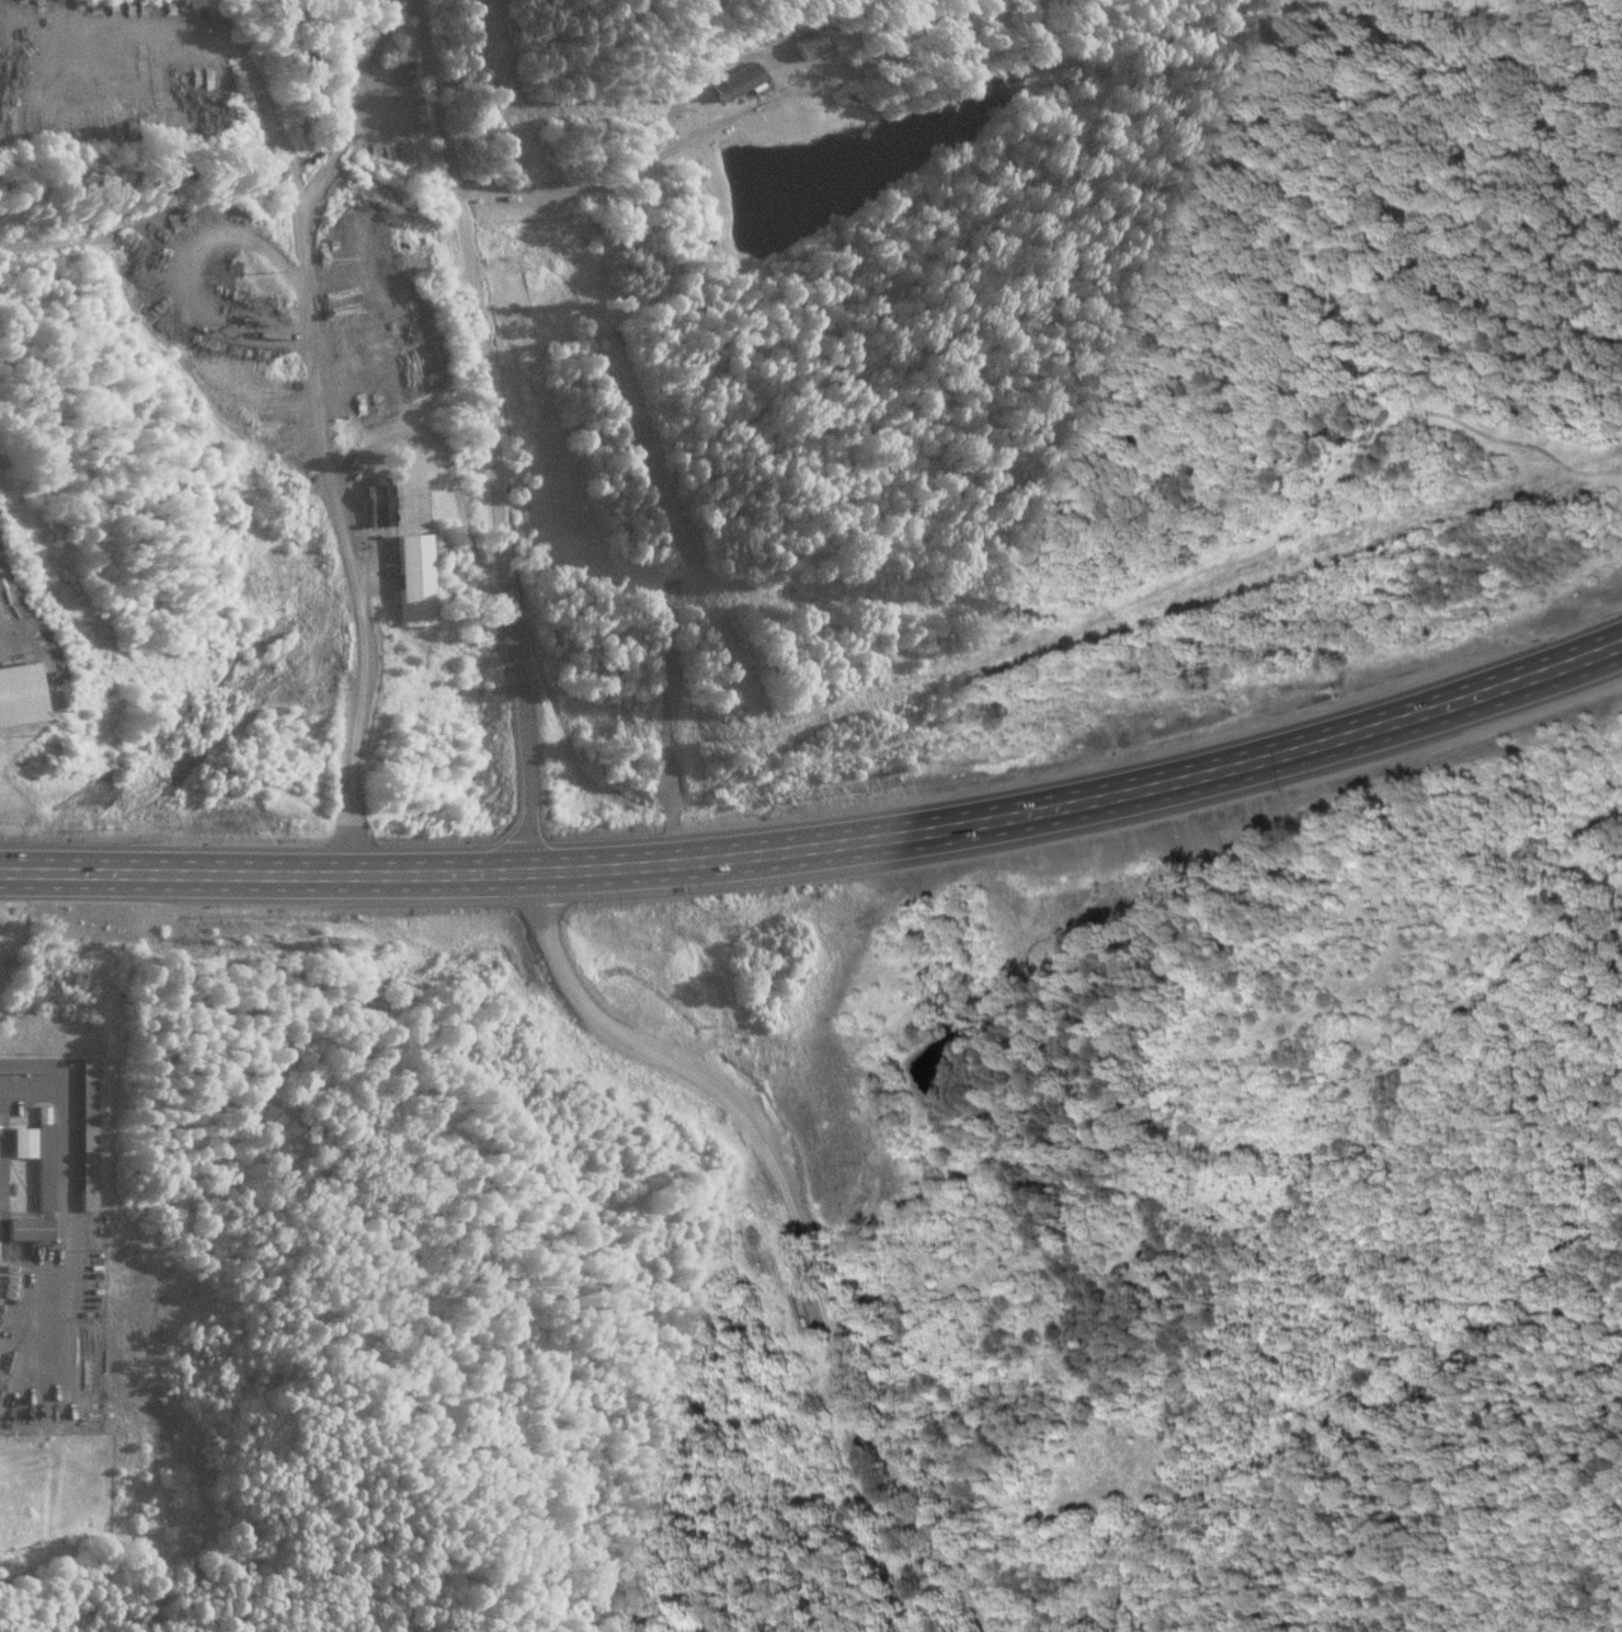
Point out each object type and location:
building: (953, 12)
building: (734, 78)
road: (751, 111)
road: (492, 432)
building: (379, 501)
building: (412, 578)
road: (363, 656)
road: (823, 828)
building: (26, 1065)
building: (87, 1134)
building: (25, 1141)
building: (44, 1157)
road: (67, 1170)
building: (0, 1177)
road: (804, 1211)
building: (28, 1228)

